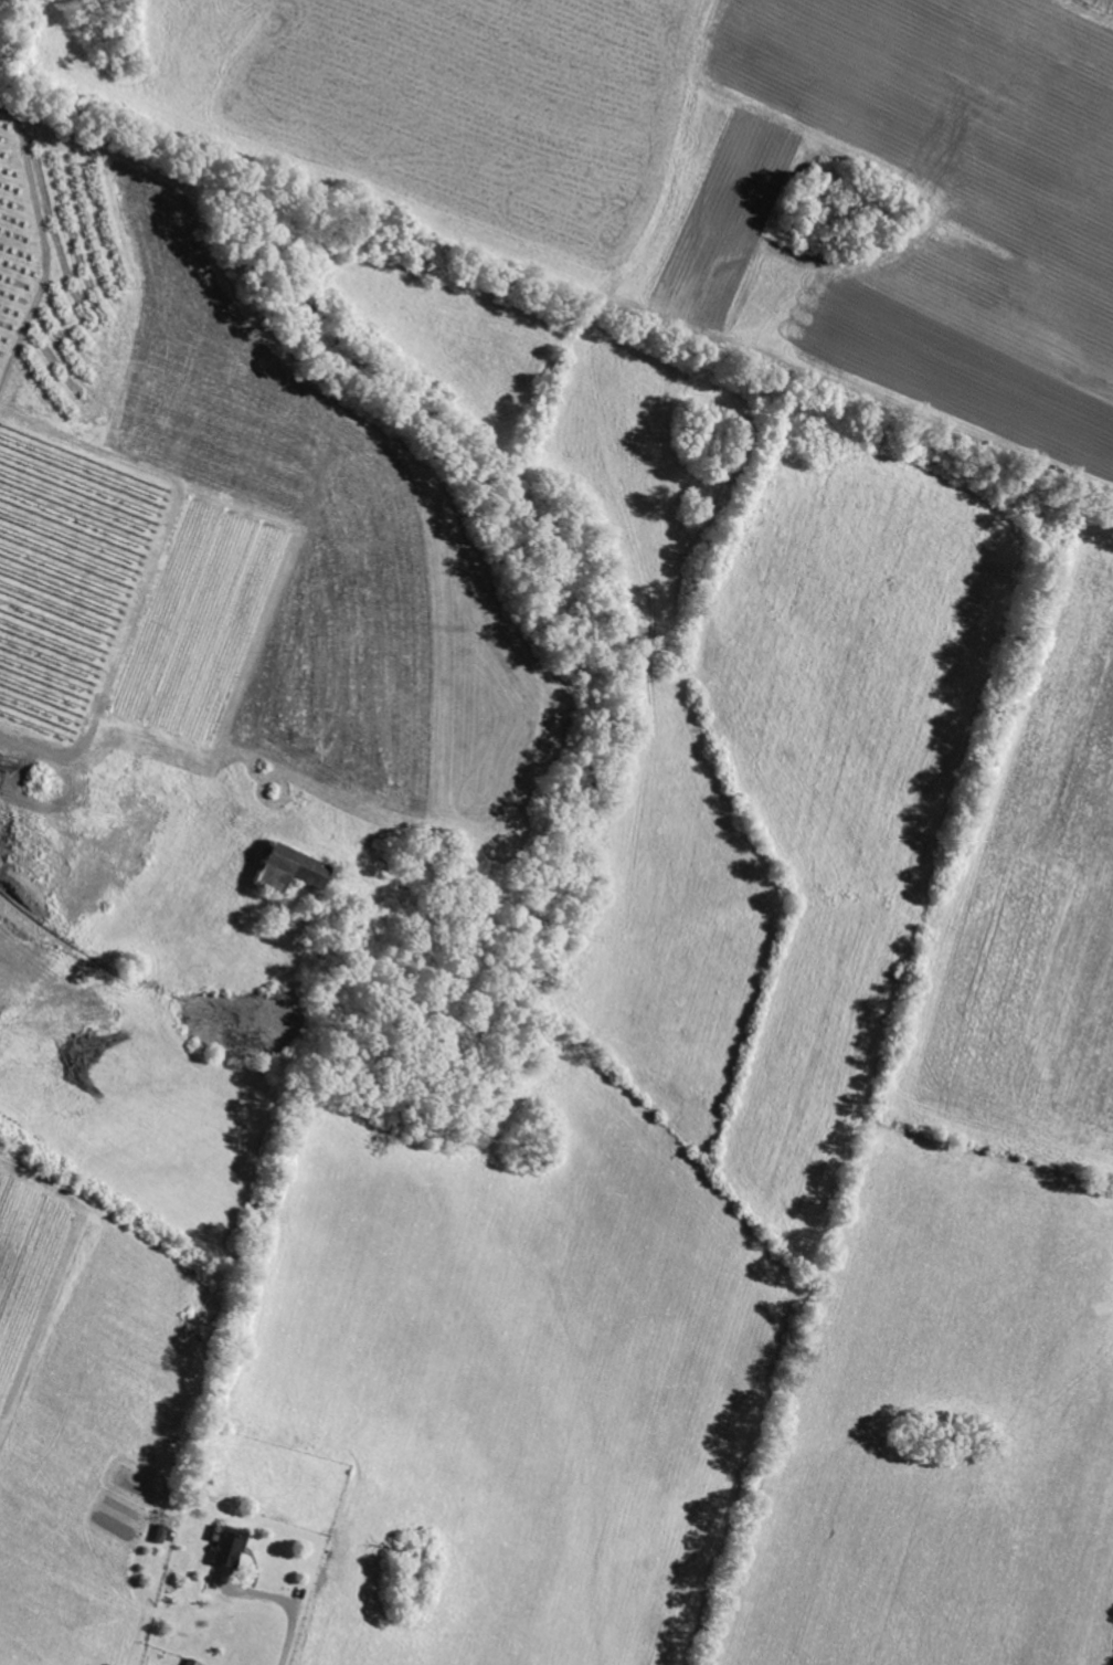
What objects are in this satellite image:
road: (45, 241)
park: (254, 773)
building: (285, 870)
building: (225, 1547)
road: (287, 1601)

